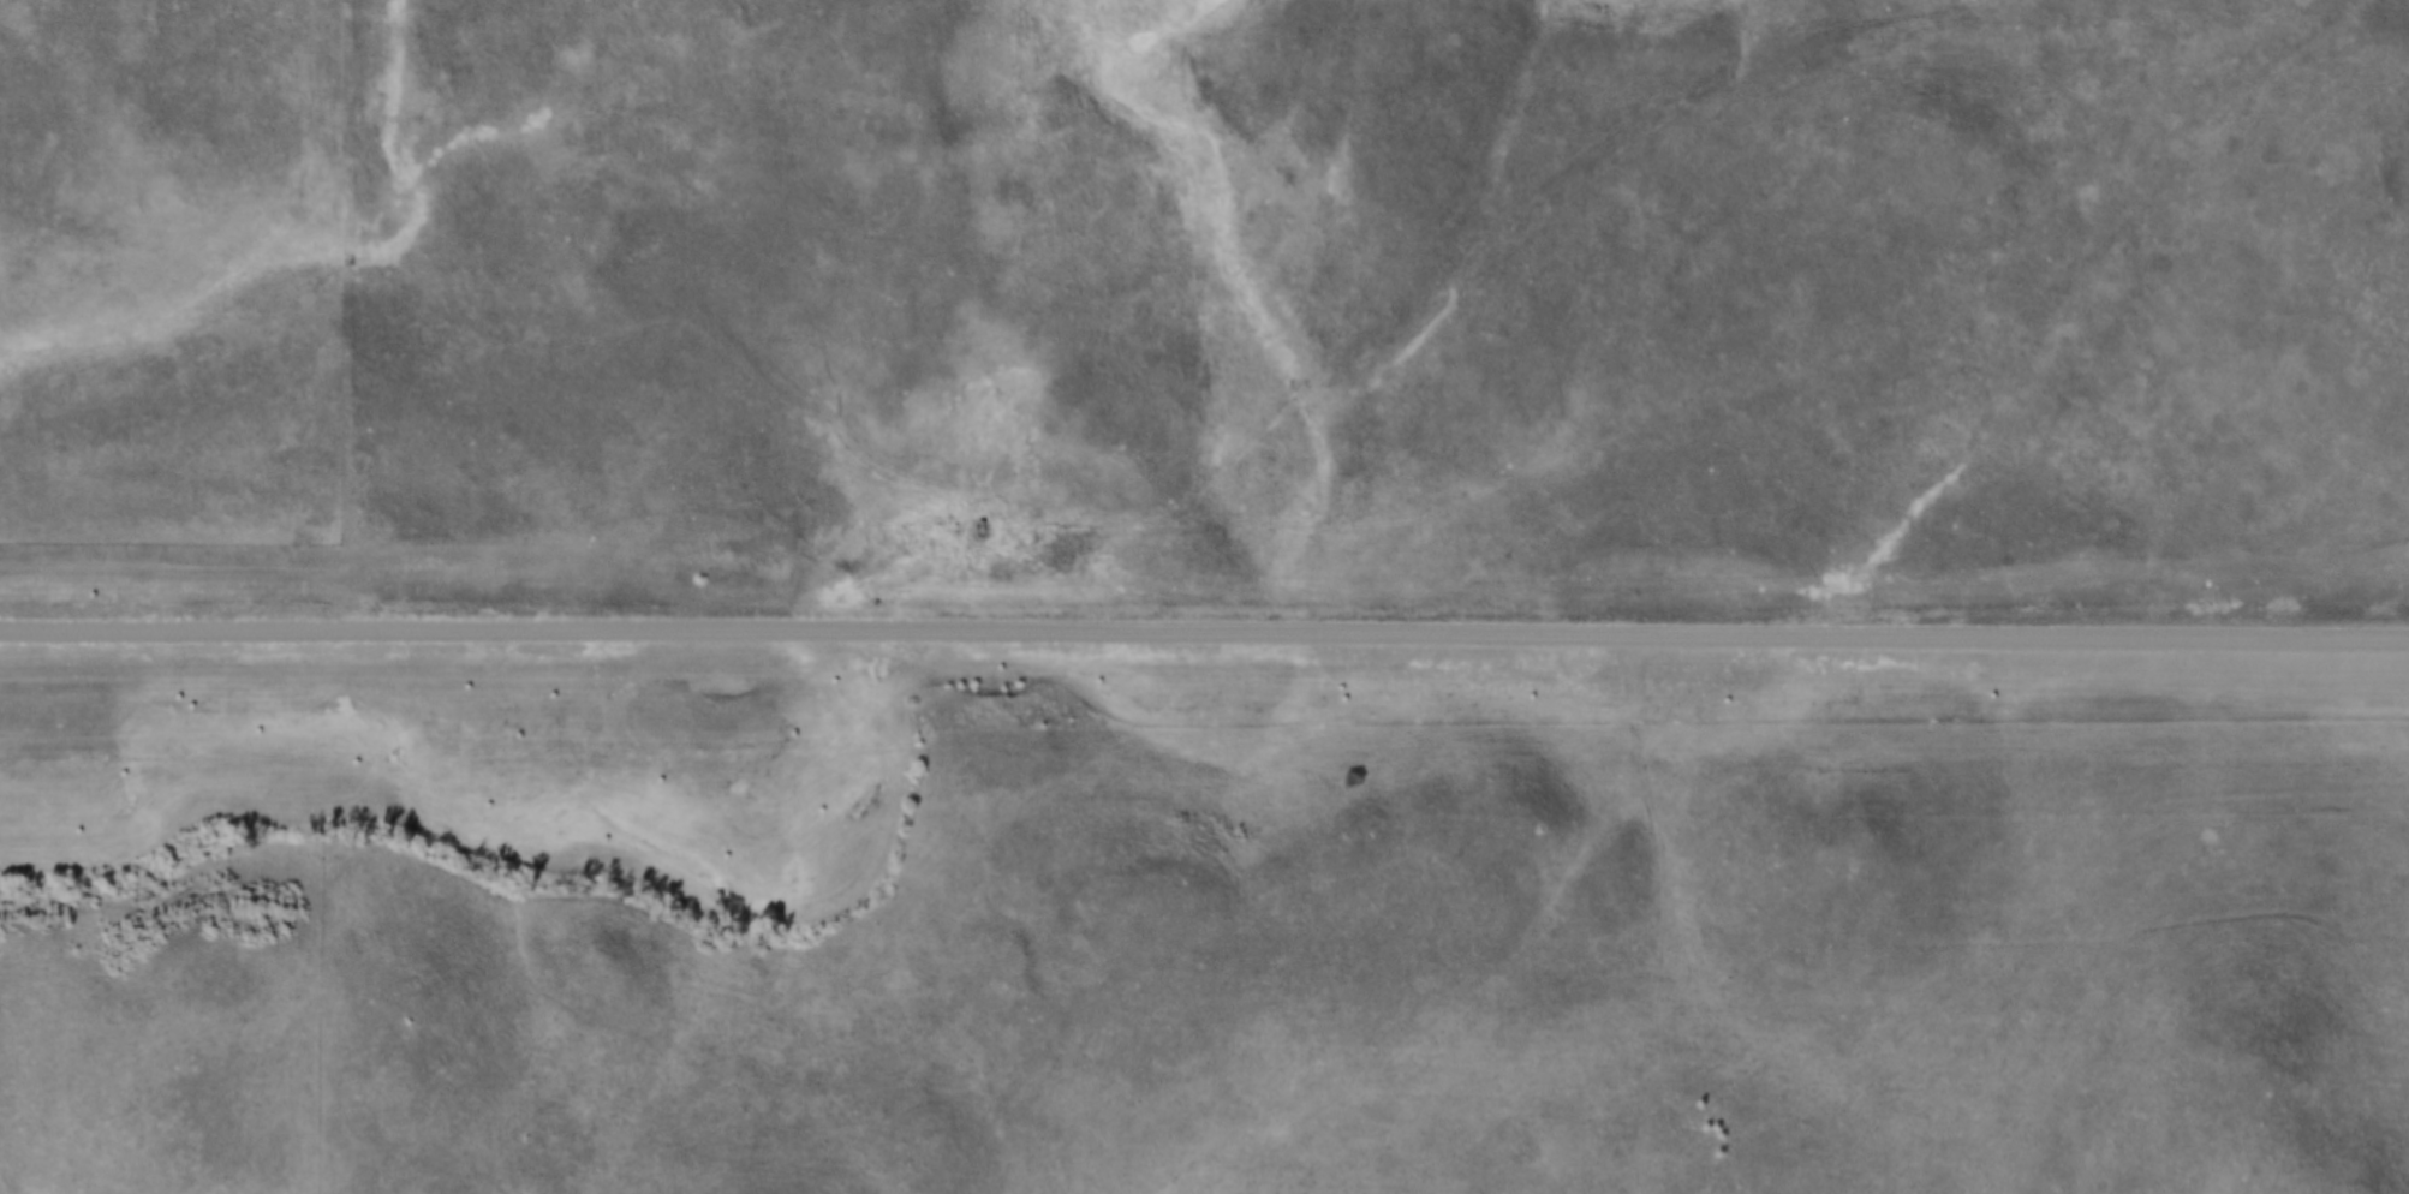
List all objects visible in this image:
road: (1204, 634)
road: (1534, 948)

